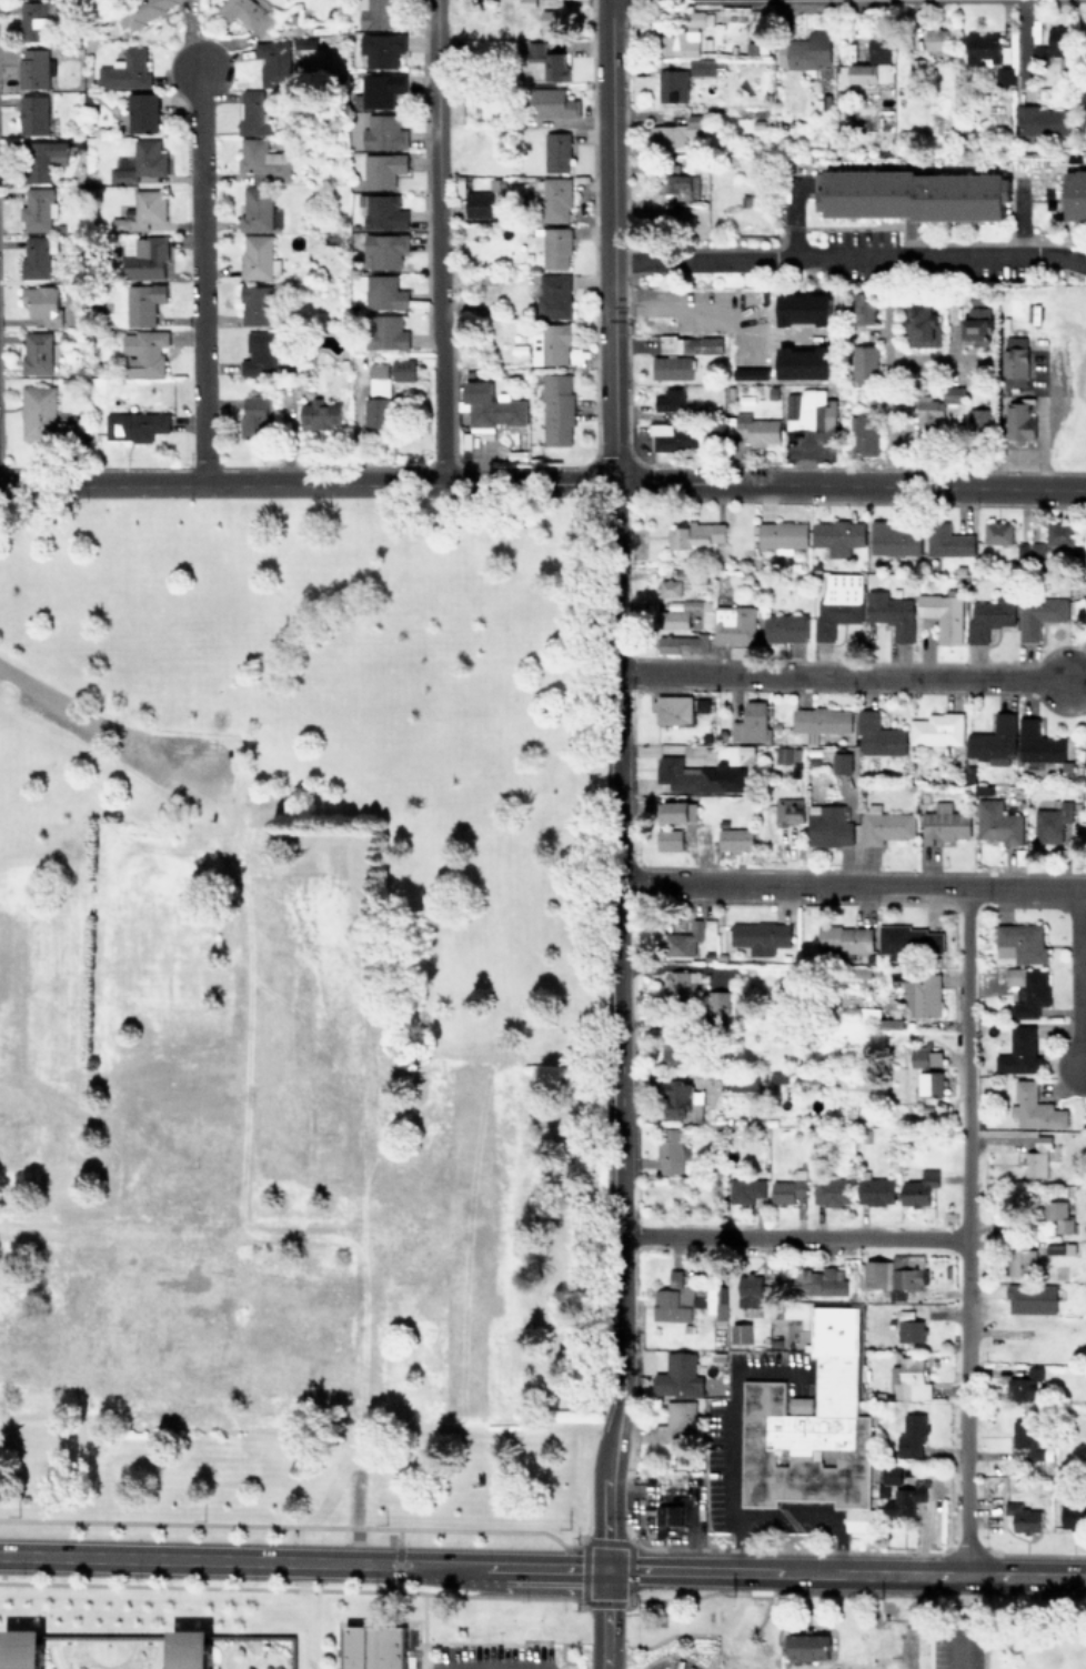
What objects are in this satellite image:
building: (142, 9)
building: (245, 13)
building: (379, 13)
building: (32, 20)
building: (547, 21)
building: (936, 40)
building: (681, 42)
building: (1053, 44)
building: (982, 46)
building: (383, 48)
building: (804, 50)
building: (547, 60)
building: (274, 62)
building: (34, 67)
building: (702, 67)
building: (125, 70)
building: (1004, 74)
building: (672, 84)
building: (382, 88)
building: (553, 102)
building: (142, 111)
building: (33, 113)
building: (252, 113)
building: (1040, 120)
building: (675, 131)
building: (384, 132)
building: (556, 151)
building: (44, 158)
building: (140, 161)
building: (263, 161)
building: (383, 169)
road: (436, 169)
building: (681, 184)
building: (1075, 193)
building: (912, 195)
building: (556, 199)
building: (477, 203)
building: (38, 208)
building: (258, 209)
building: (141, 211)
building: (384, 211)
road: (610, 240)
building: (553, 245)
building: (384, 250)
road: (848, 255)
building: (144, 257)
building: (258, 257)
building: (36, 258)
road: (198, 277)
building: (552, 294)
building: (42, 302)
building: (143, 302)
building: (255, 303)
road: (674, 304)
building: (865, 306)
building: (675, 320)
building: (923, 324)
building: (1015, 341)
building: (550, 343)
building: (690, 344)
building: (37, 352)
building: (143, 352)
building: (259, 353)
building: (864, 364)
building: (1014, 365)
building: (671, 366)
building: (402, 369)
road: (891, 391)
building: (953, 393)
building: (378, 398)
building: (670, 399)
building: (489, 406)
building: (556, 409)
road: (439, 410)
building: (810, 410)
building: (929, 412)
building: (320, 414)
building: (44, 415)
building: (253, 415)
building: (978, 419)
building: (1019, 419)
building: (134, 425)
building: (756, 429)
building: (864, 434)
building: (682, 435)
road: (1043, 441)
road: (306, 483)
road: (848, 483)
building: (997, 532)
building: (695, 533)
building: (1058, 533)
building: (782, 535)
building: (837, 535)
building: (894, 539)
building: (947, 541)
building: (1029, 552)
building: (668, 587)
building: (1085, 596)
building: (838, 603)
building: (891, 613)
building: (1039, 614)
building: (943, 615)
building: (988, 616)
building: (673, 619)
building: (734, 624)
building: (784, 627)
building: (682, 642)
building: (434, 672)
road: (838, 674)
road: (73, 678)
building: (673, 708)
building: (821, 721)
building: (751, 723)
building: (936, 728)
building: (877, 735)
building: (994, 740)
building: (1037, 742)
building: (842, 762)
building: (1084, 762)
building: (691, 775)
building: (288, 792)
building: (788, 808)
building: (672, 811)
building: (997, 822)
building: (1052, 822)
building: (944, 823)
building: (884, 824)
building: (827, 825)
building: (668, 838)
building: (735, 838)
building: (271, 868)
road: (851, 884)
road: (1019, 904)
road: (1073, 907)
building: (232, 927)
building: (760, 935)
building: (845, 938)
building: (684, 939)
building: (909, 941)
building: (1020, 942)
building: (1014, 975)
road: (1076, 976)
building: (681, 985)
building: (921, 992)
building: (1032, 994)
building: (301, 1001)
building: (718, 1001)
road: (617, 1024)
building: (412, 1044)
building: (676, 1052)
building: (1019, 1052)
building: (210, 1056)
building: (744, 1082)
building: (931, 1082)
building: (682, 1100)
building: (1036, 1108)
building: (671, 1149)
building: (150, 1179)
building: (330, 1180)
building: (424, 1180)
building: (918, 1187)
building: (745, 1189)
building: (787, 1190)
building: (875, 1190)
building: (832, 1192)
building: (1058, 1215)
road: (964, 1229)
road: (792, 1236)
building: (1022, 1261)
building: (892, 1276)
building: (819, 1281)
building: (753, 1290)
building: (937, 1294)
building: (1030, 1298)
building: (672, 1299)
building: (909, 1327)
building: (740, 1333)
building: (677, 1376)
building: (909, 1379)
building: (1024, 1383)
building: (676, 1420)
building: (811, 1427)
building: (912, 1435)
building: (1026, 1438)
road: (734, 1446)
building: (891, 1474)
building: (906, 1499)
building: (1073, 1511)
building: (667, 1514)
building: (1023, 1517)
road: (304, 1526)
road: (361, 1544)
road: (1034, 1554)
road: (396, 1558)
road: (302, 1559)
road: (844, 1570)
road: (314, 1588)
road: (856, 1592)
road: (603, 1617)
road: (958, 1620)
road: (315, 1629)
road: (107, 1630)
road: (0, 1637)
road: (105, 1638)
road: (1, 1639)
road: (255, 1639)
road: (218, 1641)
road: (230, 1643)
building: (373, 1647)
building: (807, 1647)
building: (22, 1648)
building: (190, 1648)
park: (107, 1650)
road: (329, 1650)
road: (58, 1653)
road: (154, 1653)
road: (265, 1653)
parking lot: (491, 1657)
building: (776, 1665)

